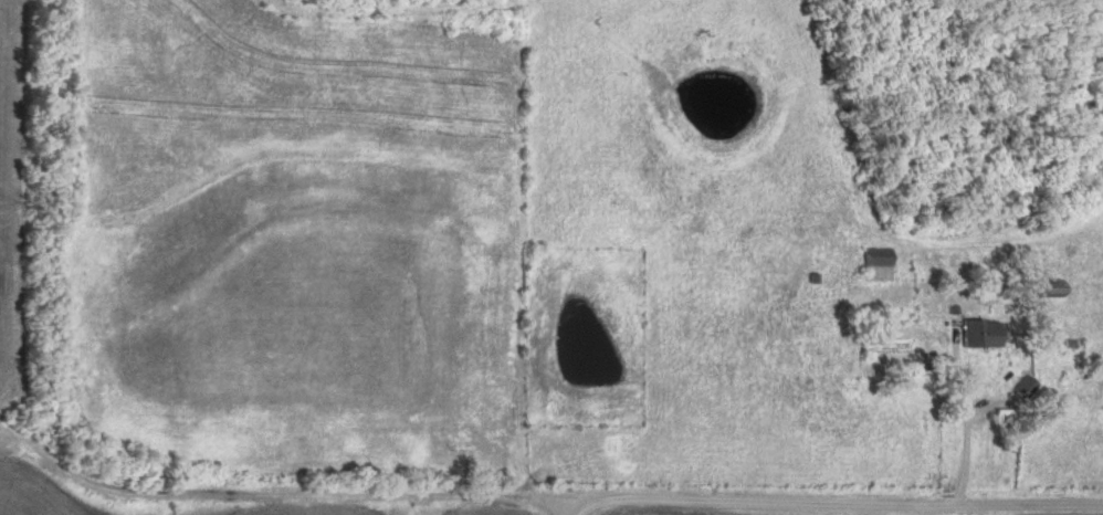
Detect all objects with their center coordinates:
building: (876, 264)
building: (1044, 292)
building: (980, 333)
road: (974, 427)
road: (542, 505)
road: (556, 511)

